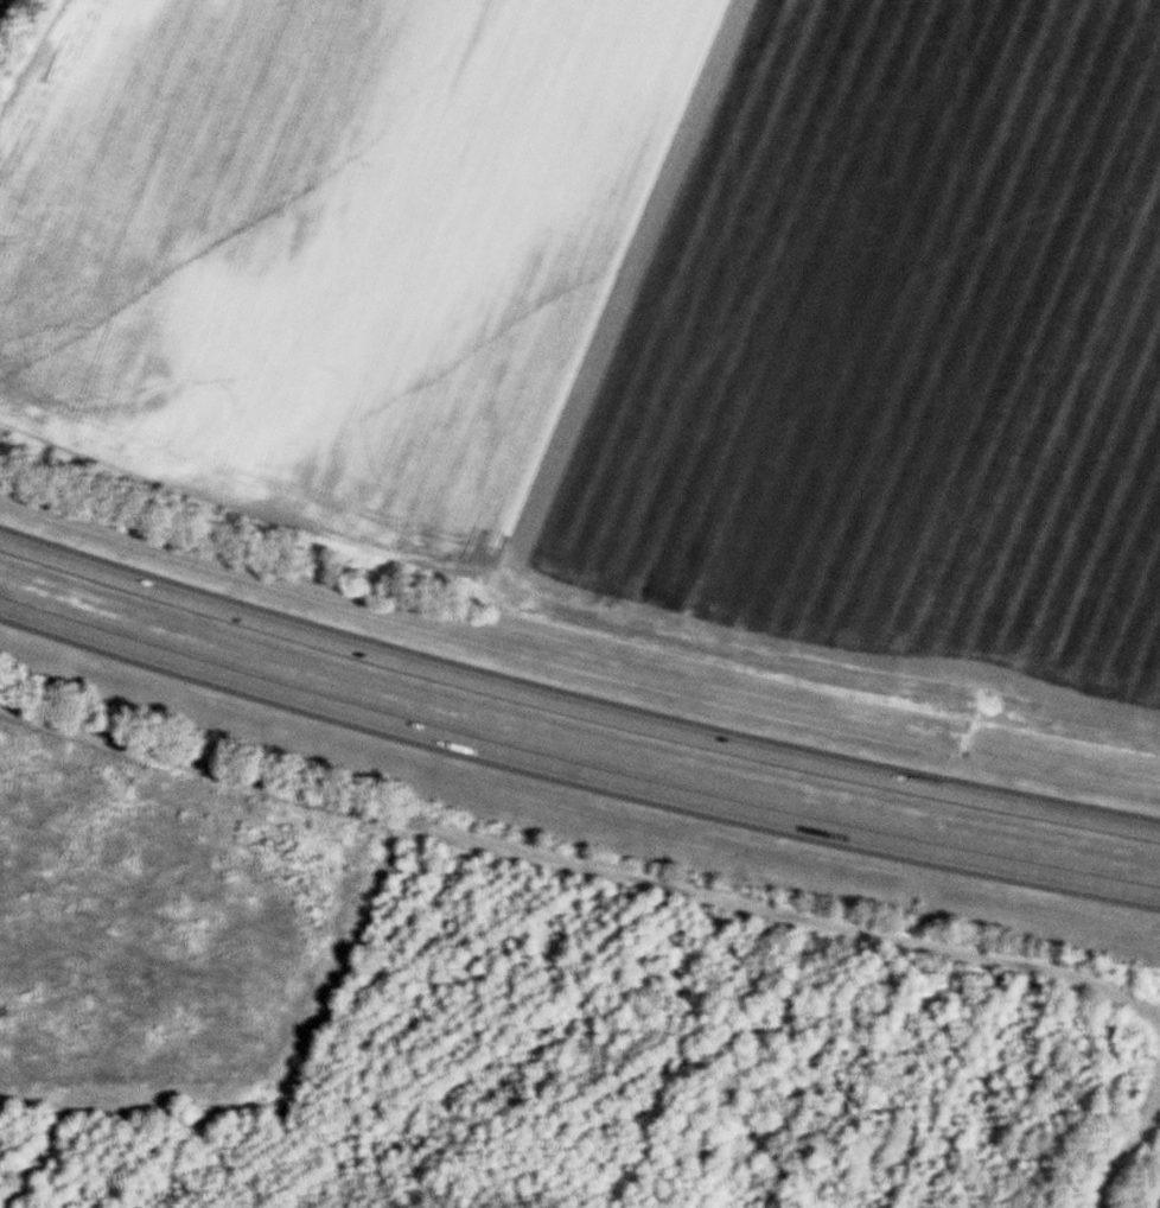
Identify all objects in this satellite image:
road: (574, 704)
road: (573, 776)
road: (581, 858)
road: (1133, 1144)

